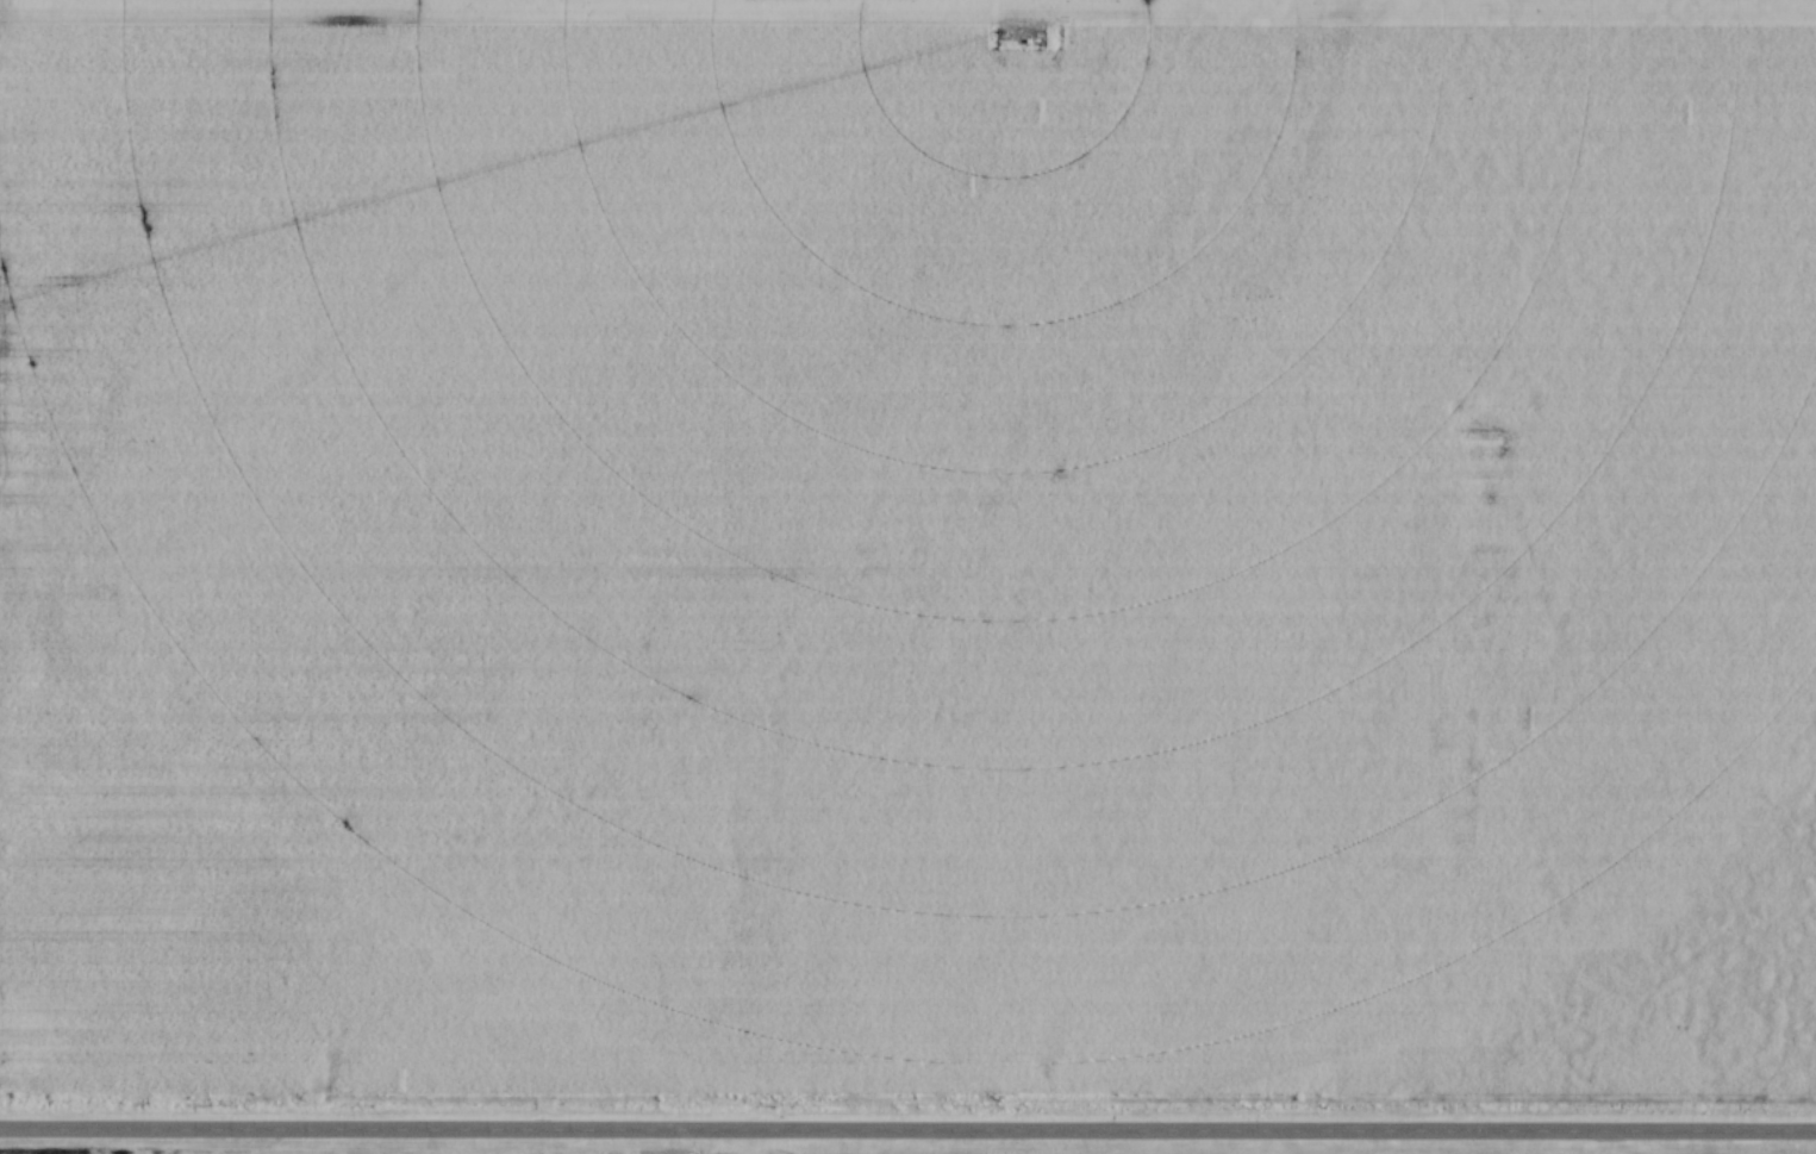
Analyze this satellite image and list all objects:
road: (907, 1137)

